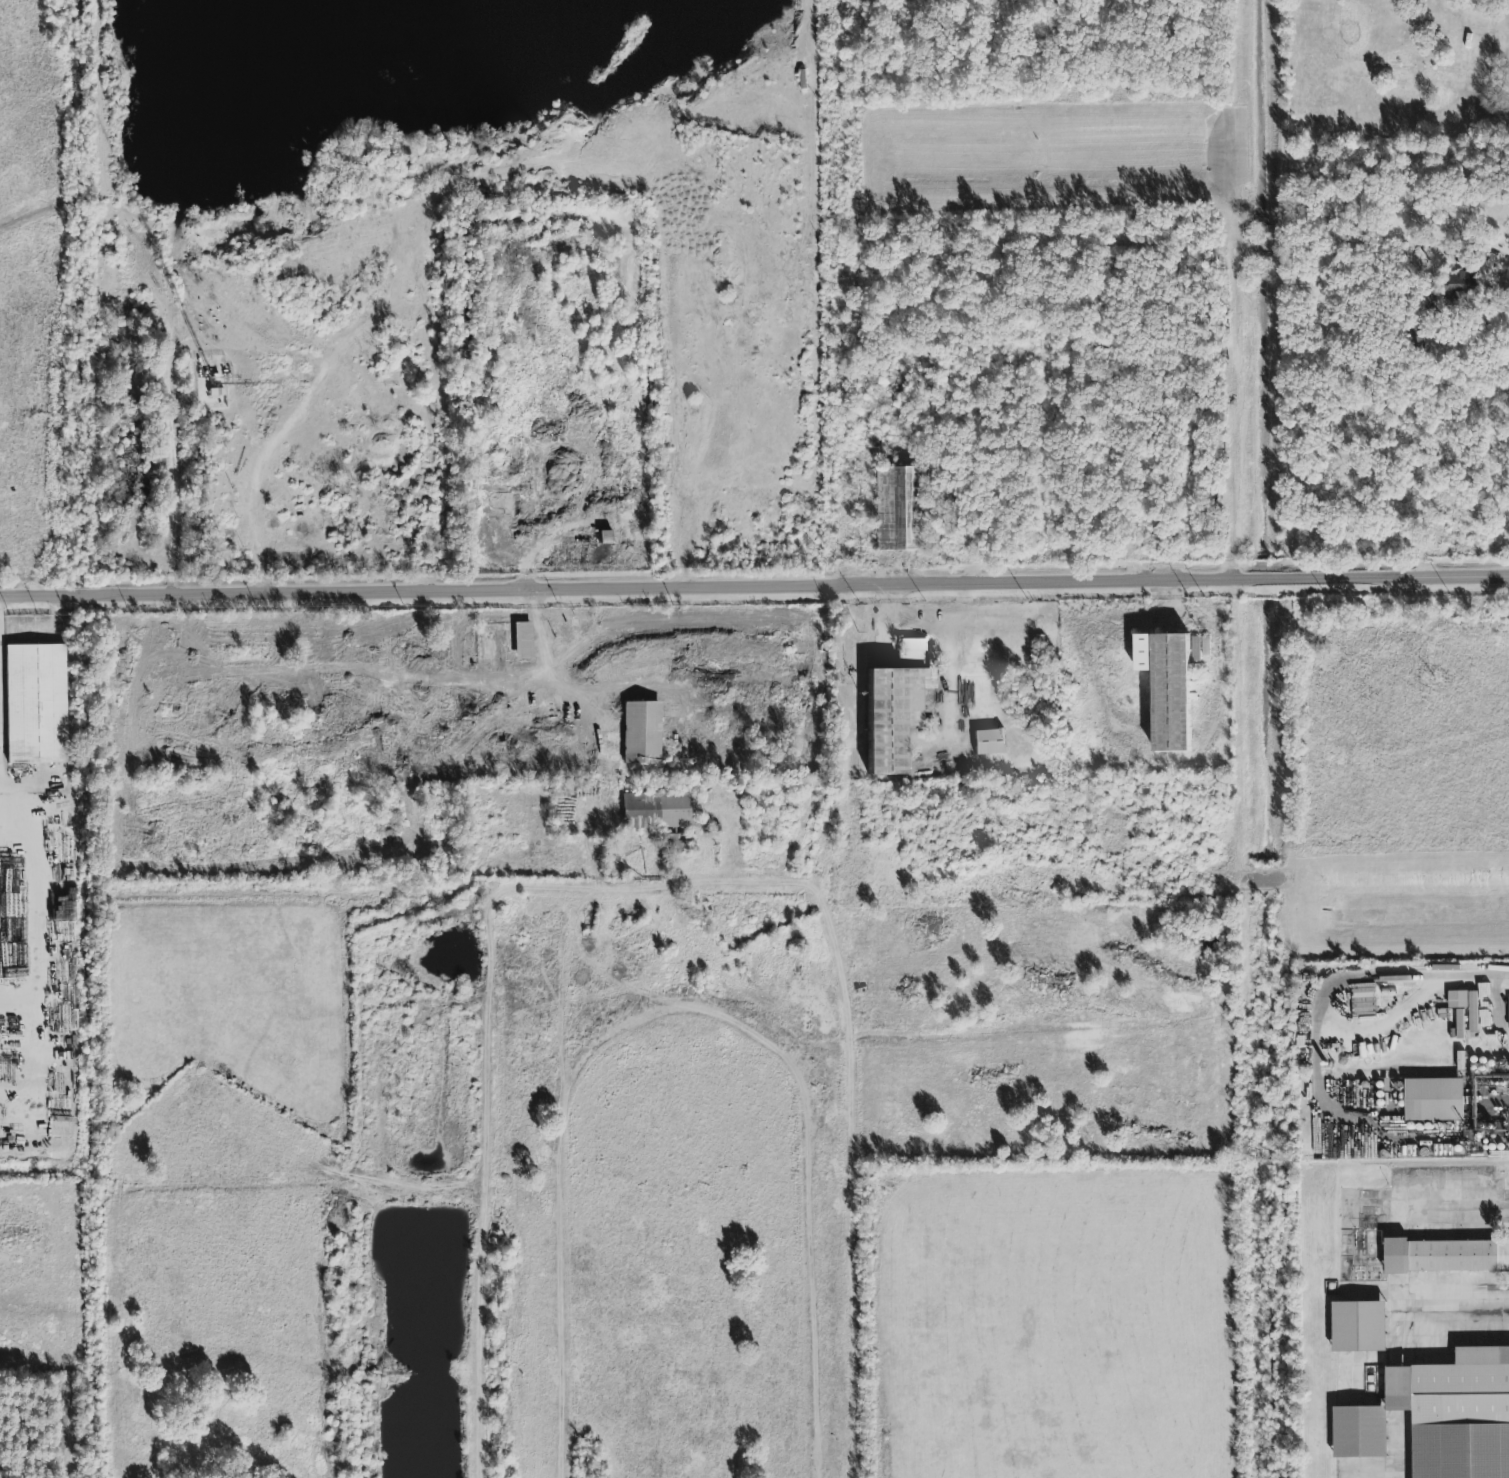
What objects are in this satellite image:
building: (1462, 284)
road: (276, 438)
road: (173, 496)
building: (903, 509)
building: (605, 537)
building: (602, 551)
road: (792, 586)
road: (38, 596)
road: (948, 632)
building: (522, 641)
building: (1206, 645)
building: (1167, 688)
building: (895, 706)
building: (35, 709)
building: (463, 721)
building: (641, 724)
road: (1250, 739)
building: (988, 742)
building: (658, 810)
building: (1365, 879)
road: (37, 963)
road: (1392, 976)
building: (1458, 1000)
building: (1508, 1013)
building: (1474, 1015)
road: (492, 1027)
road: (79, 1037)
building: (1434, 1101)
road: (857, 1181)
road: (1459, 1198)
building: (1447, 1256)
road: (1464, 1298)
building: (1359, 1327)
building: (1440, 1417)

